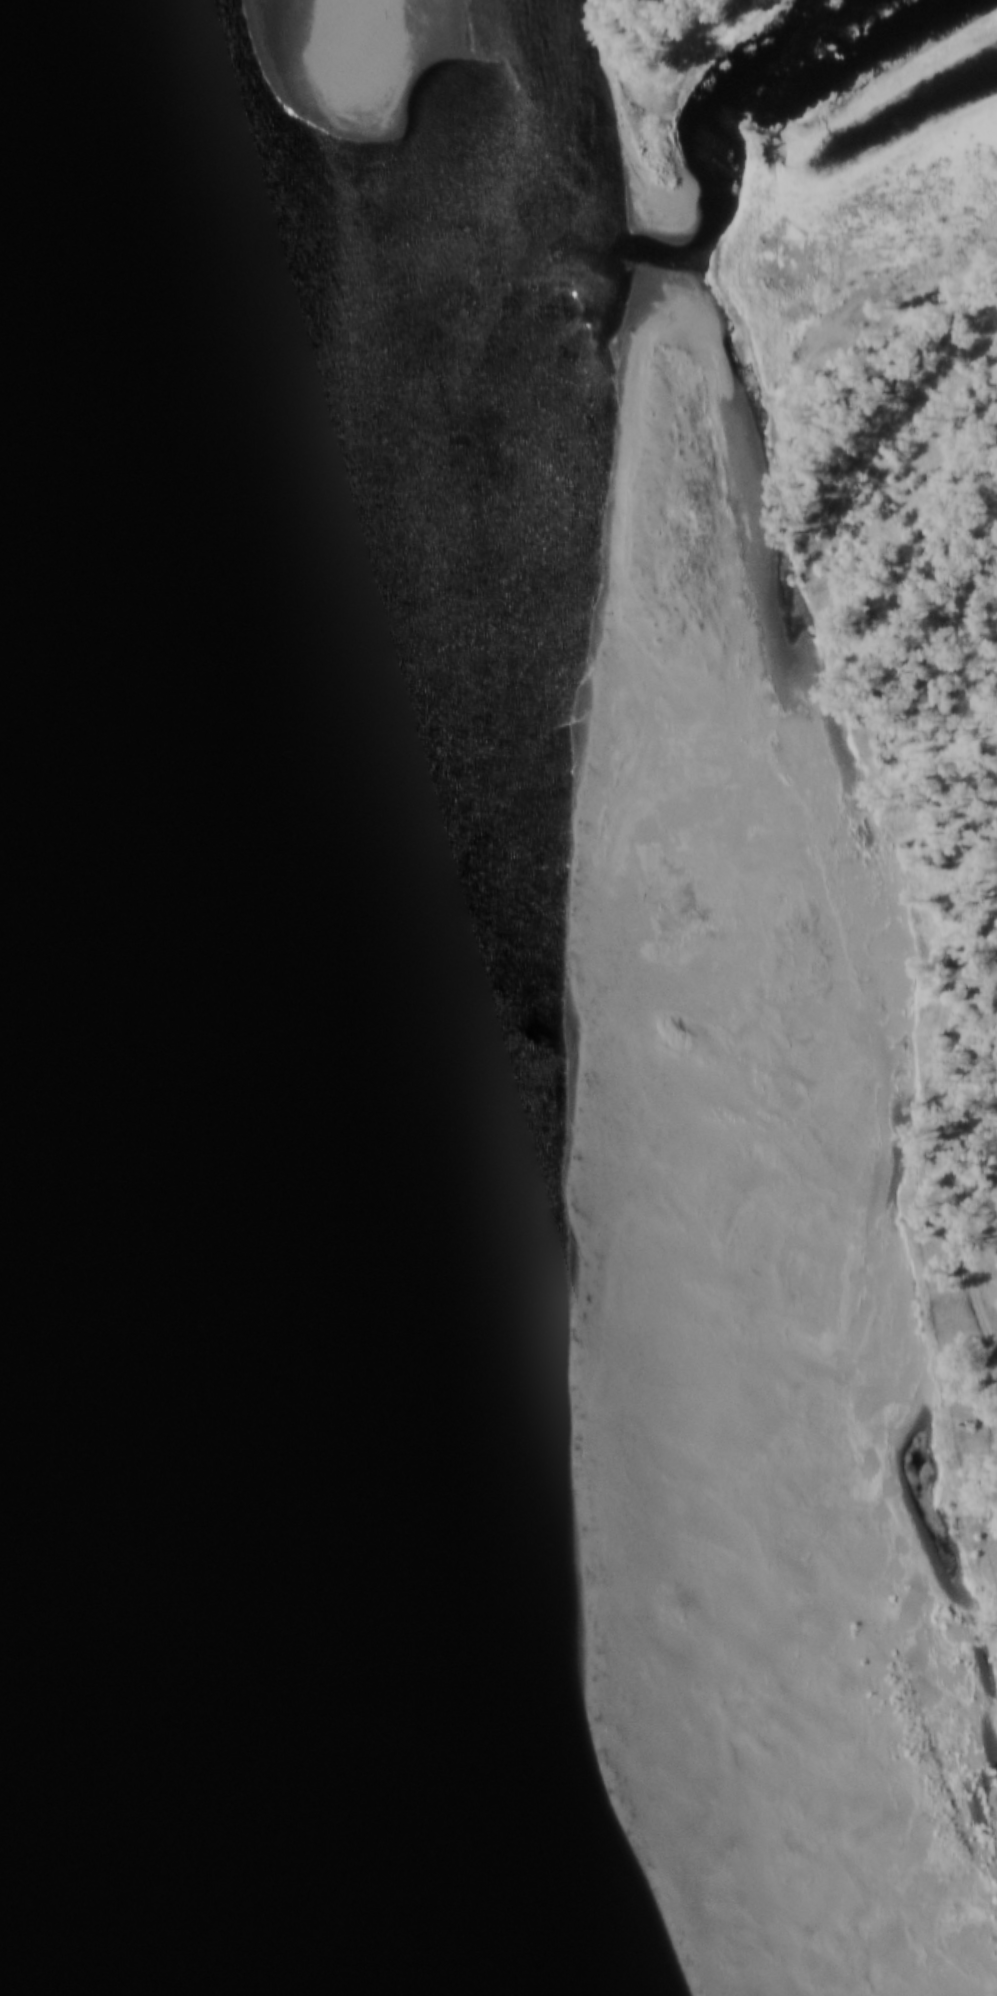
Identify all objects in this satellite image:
river: (646, 240)
road: (971, 1292)
road: (996, 1514)
river: (86, 1531)

